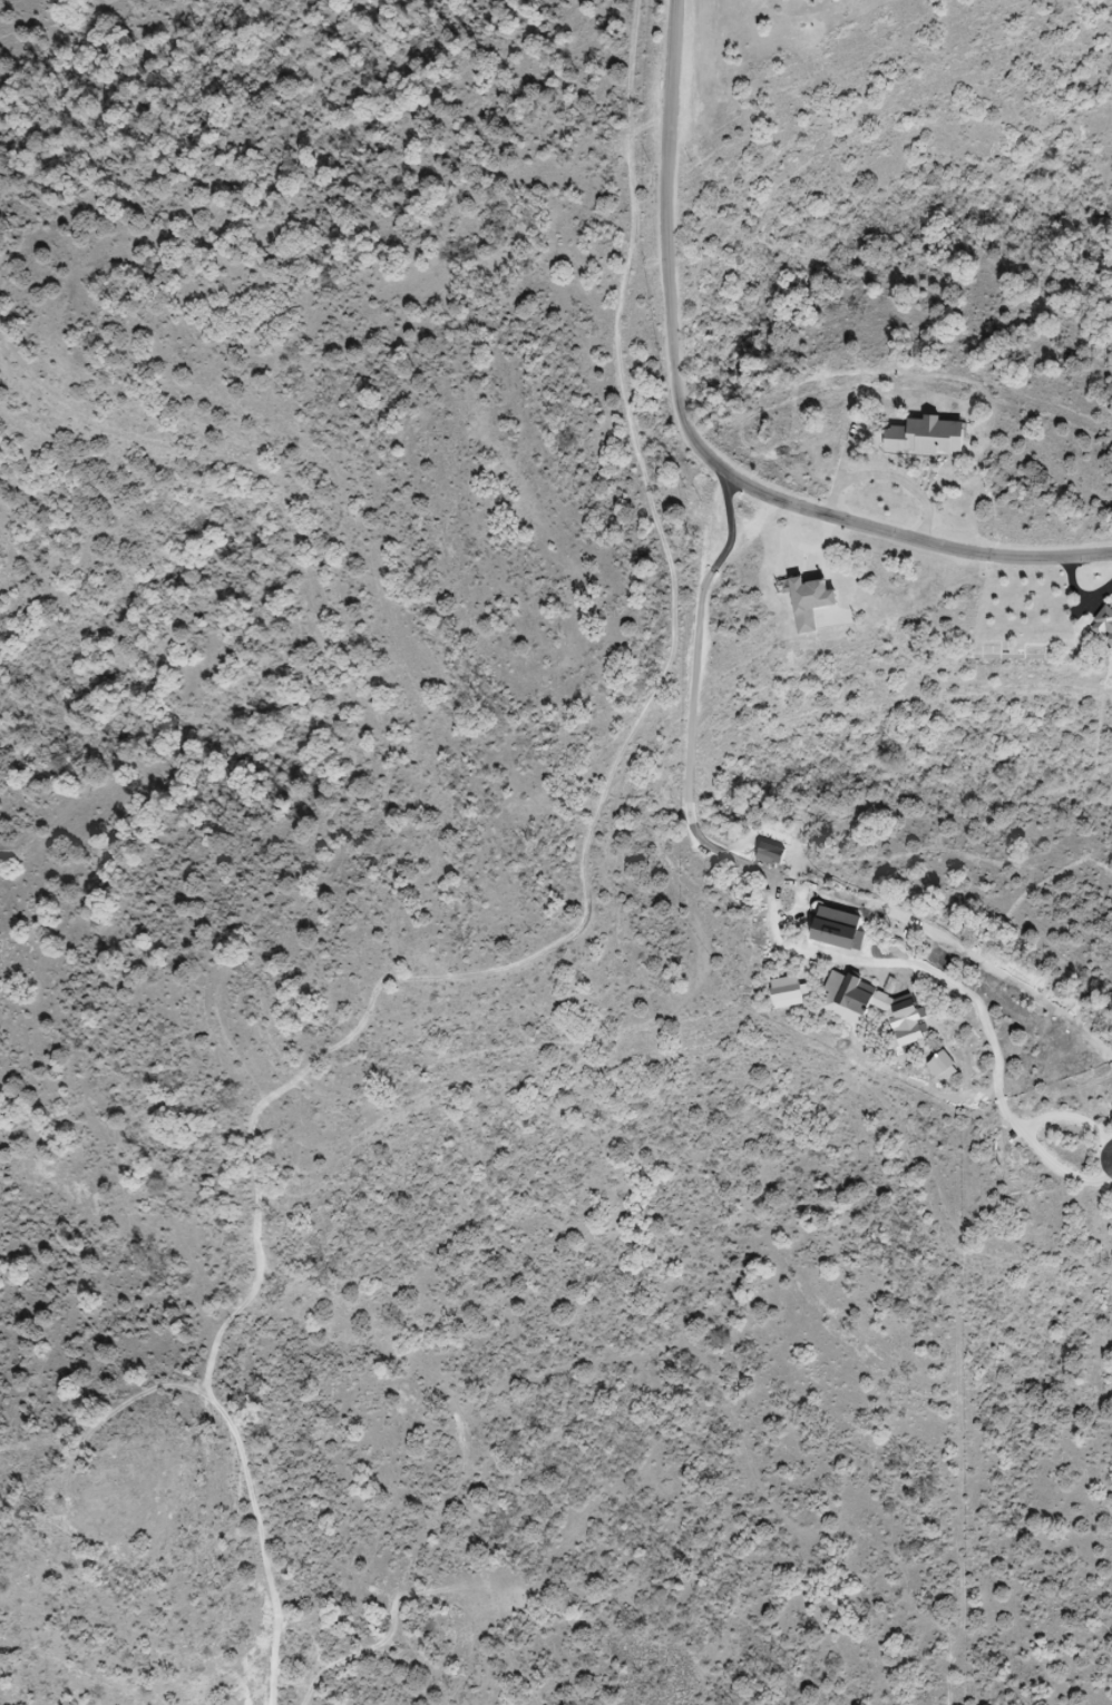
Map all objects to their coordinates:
road: (696, 438)
building: (926, 438)
road: (887, 476)
building: (810, 600)
building: (1104, 623)
road: (735, 861)

